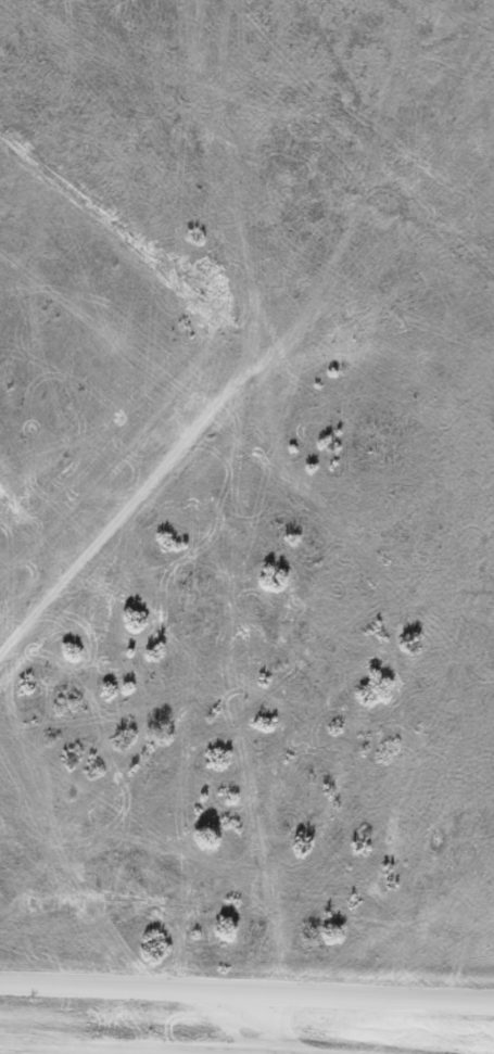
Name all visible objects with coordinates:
airport runway: (132, 487)
road: (246, 995)
road: (155, 1044)

